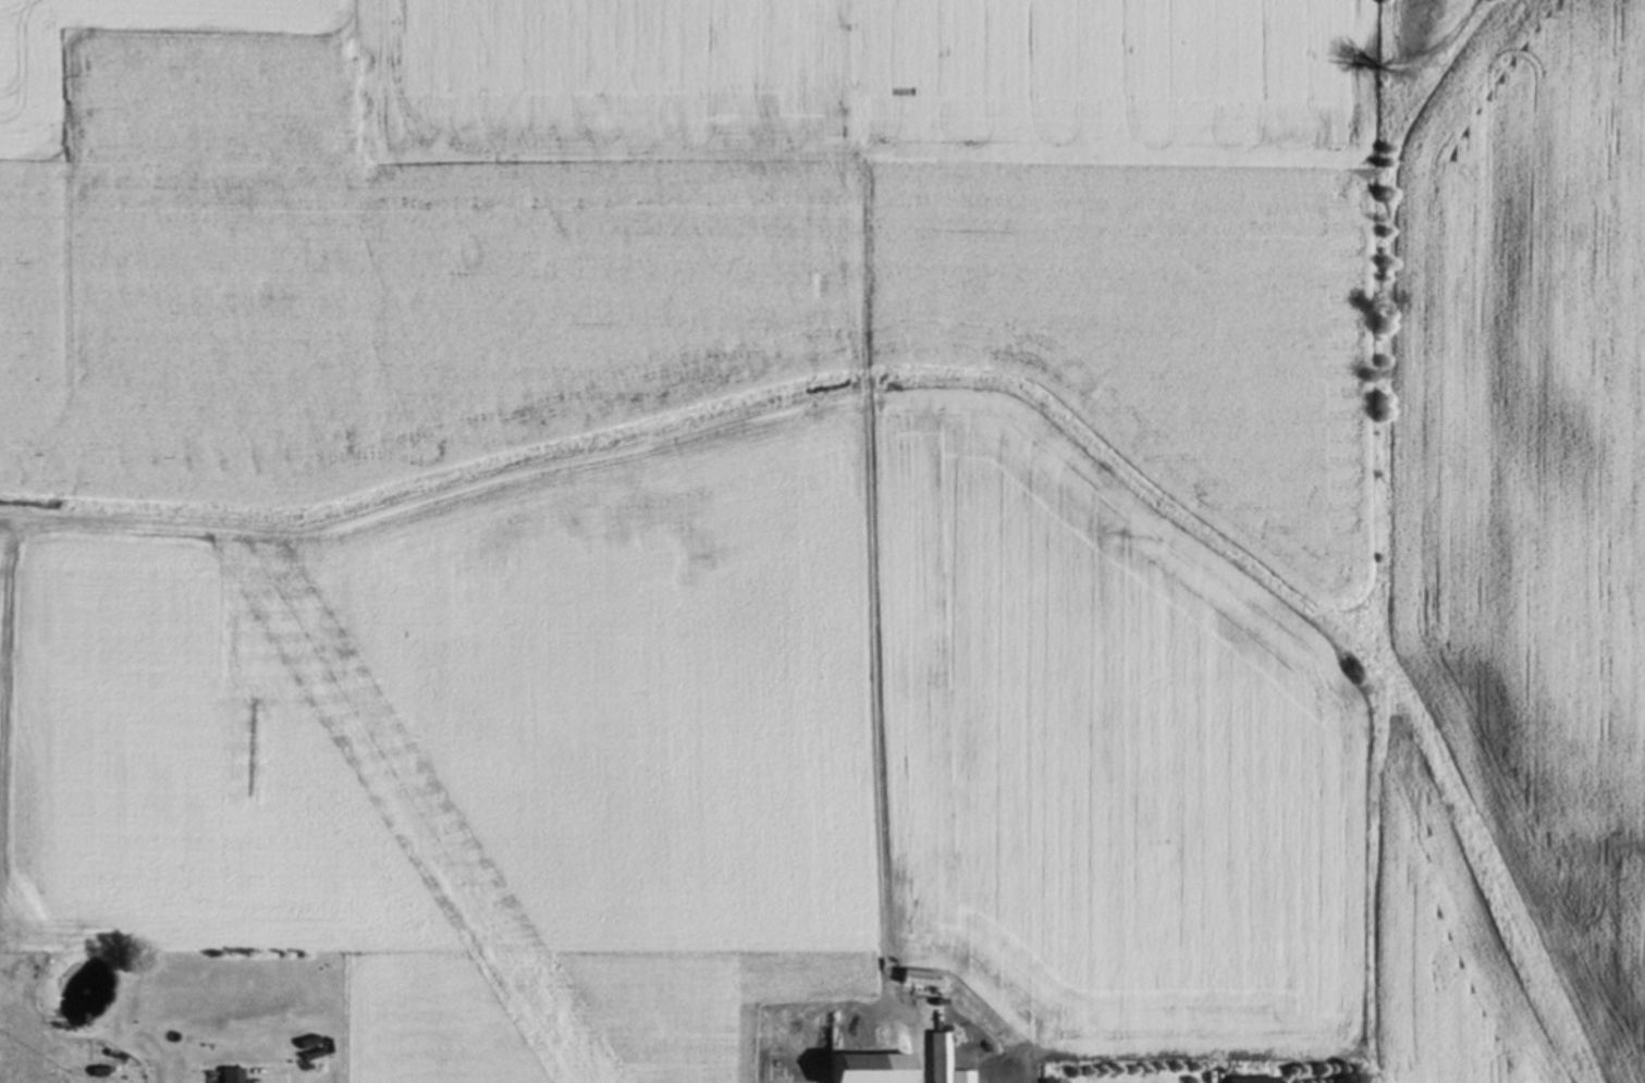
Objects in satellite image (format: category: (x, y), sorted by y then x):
road: (920, 1033)
building: (946, 1061)
building: (874, 1064)
building: (778, 1068)
building: (234, 1075)
road: (281, 1080)
building: (1017, 1080)
road: (1217, 1080)
building: (1252, 1080)
building: (1056, 1082)

